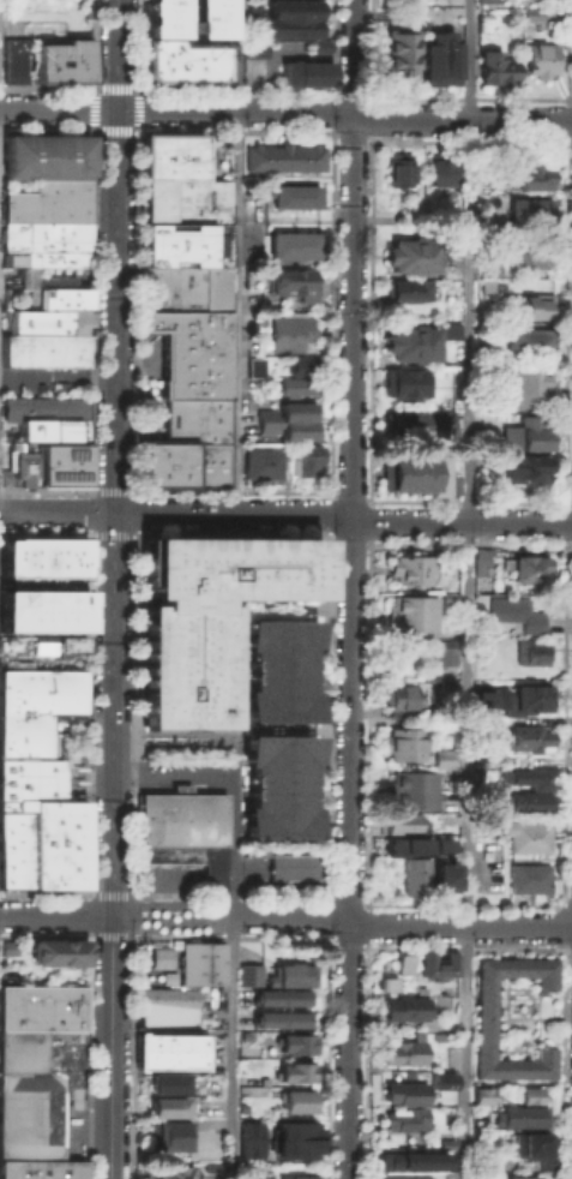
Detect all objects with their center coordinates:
building: (293, 8)
building: (253, 11)
building: (530, 12)
building: (151, 18)
building: (170, 18)
building: (207, 18)
building: (253, 22)
building: (291, 26)
building: (53, 43)
building: (77, 48)
building: (252, 48)
building: (188, 50)
building: (395, 53)
road: (118, 54)
building: (12, 56)
building: (439, 56)
building: (540, 58)
building: (62, 66)
building: (159, 66)
building: (495, 66)
building: (204, 71)
building: (303, 72)
road: (59, 109)
road: (344, 113)
road: (134, 126)
building: (156, 143)
building: (44, 151)
building: (183, 155)
building: (282, 155)
building: (398, 167)
building: (438, 167)
building: (155, 169)
building: (531, 174)
building: (61, 181)
building: (156, 185)
building: (295, 196)
building: (156, 201)
building: (216, 201)
building: (44, 202)
building: (185, 202)
building: (534, 205)
building: (156, 213)
building: (44, 227)
building: (156, 234)
building: (44, 243)
building: (195, 243)
building: (156, 245)
building: (293, 245)
building: (410, 253)
building: (55, 255)
road: (237, 256)
building: (531, 256)
building: (156, 259)
building: (489, 267)
building: (249, 271)
building: (183, 277)
building: (291, 280)
building: (486, 285)
building: (407, 289)
building: (54, 292)
building: (74, 298)
building: (185, 299)
building: (526, 303)
road: (116, 310)
road: (136, 310)
building: (47, 318)
building: (183, 319)
building: (288, 325)
building: (450, 330)
building: (195, 337)
building: (528, 339)
building: (408, 340)
building: (43, 348)
building: (195, 353)
building: (302, 361)
building: (253, 364)
building: (195, 370)
road: (58, 373)
building: (402, 381)
building: (293, 384)
building: (524, 385)
building: (194, 388)
building: (197, 405)
building: (43, 406)
building: (442, 418)
building: (195, 419)
building: (284, 420)
building: (403, 423)
building: (52, 429)
building: (530, 431)
building: (195, 435)
building: (150, 447)
building: (302, 459)
building: (62, 461)
building: (168, 462)
building: (259, 462)
building: (192, 463)
building: (212, 463)
building: (17, 466)
building: (520, 467)
building: (409, 472)
building: (150, 478)
road: (329, 489)
road: (44, 490)
road: (90, 490)
road: (113, 490)
road: (134, 491)
road: (233, 491)
road: (350, 492)
road: (371, 497)
road: (90, 511)
road: (137, 511)
road: (327, 511)
road: (287, 513)
road: (371, 520)
road: (236, 523)
road: (90, 531)
road: (44, 532)
road: (136, 532)
road: (230, 533)
road: (92, 534)
road: (104, 534)
road: (124, 535)
road: (133, 535)
road: (326, 535)
road: (349, 539)
road: (369, 543)
road: (466, 544)
building: (66, 545)
building: (163, 551)
building: (29, 557)
building: (66, 561)
building: (478, 561)
road: (237, 567)
building: (403, 567)
building: (526, 567)
building: (180, 573)
road: (353, 589)
road: (468, 589)
building: (36, 605)
road: (295, 605)
building: (512, 611)
building: (408, 612)
building: (162, 614)
building: (206, 616)
building: (66, 620)
road: (134, 638)
building: (161, 640)
building: (59, 641)
building: (530, 651)
building: (444, 654)
road: (236, 662)
building: (161, 665)
building: (279, 670)
building: (42, 678)
building: (446, 683)
building: (161, 689)
building: (396, 694)
building: (517, 698)
building: (43, 700)
building: (482, 702)
road: (90, 714)
building: (161, 714)
building: (205, 714)
building: (25, 722)
road: (235, 734)
building: (528, 737)
building: (402, 741)
building: (25, 743)
building: (441, 756)
road: (235, 760)
building: (31, 770)
parking lot: (188, 772)
building: (526, 776)
road: (174, 779)
building: (278, 785)
building: (31, 790)
building: (409, 790)
building: (523, 802)
building: (67, 808)
road: (136, 816)
building: (14, 820)
building: (399, 820)
building: (66, 830)
building: (183, 831)
building: (34, 833)
building: (525, 834)
building: (14, 838)
building: (397, 843)
building: (442, 844)
road: (114, 845)
road: (234, 848)
building: (66, 852)
building: (14, 857)
building: (291, 866)
building: (440, 874)
building: (66, 875)
building: (413, 875)
building: (14, 876)
building: (526, 878)
road: (112, 894)
road: (90, 904)
road: (136, 904)
road: (287, 915)
building: (7, 946)
building: (58, 950)
building: (161, 957)
building: (203, 962)
building: (433, 962)
building: (403, 963)
building: (289, 971)
building: (247, 972)
building: (168, 976)
building: (387, 983)
building: (167, 994)
building: (277, 997)
building: (402, 1005)
building: (167, 1015)
building: (483, 1017)
building: (279, 1018)
building: (294, 1042)
building: (145, 1046)
road: (233, 1047)
building: (177, 1049)
building: (401, 1052)
building: (144, 1060)
building: (295, 1071)
building: (38, 1076)
building: (168, 1082)
building: (403, 1091)
building: (482, 1095)
building: (530, 1095)
building: (295, 1100)
building: (167, 1106)
building: (517, 1113)
building: (402, 1118)
building: (168, 1132)
building: (248, 1138)
building: (295, 1138)
building: (446, 1143)
building: (531, 1144)
building: (142, 1157)
building: (408, 1159)
building: (171, 1171)
building: (295, 1177)
building: (405, 1177)
building: (522, 1177)

